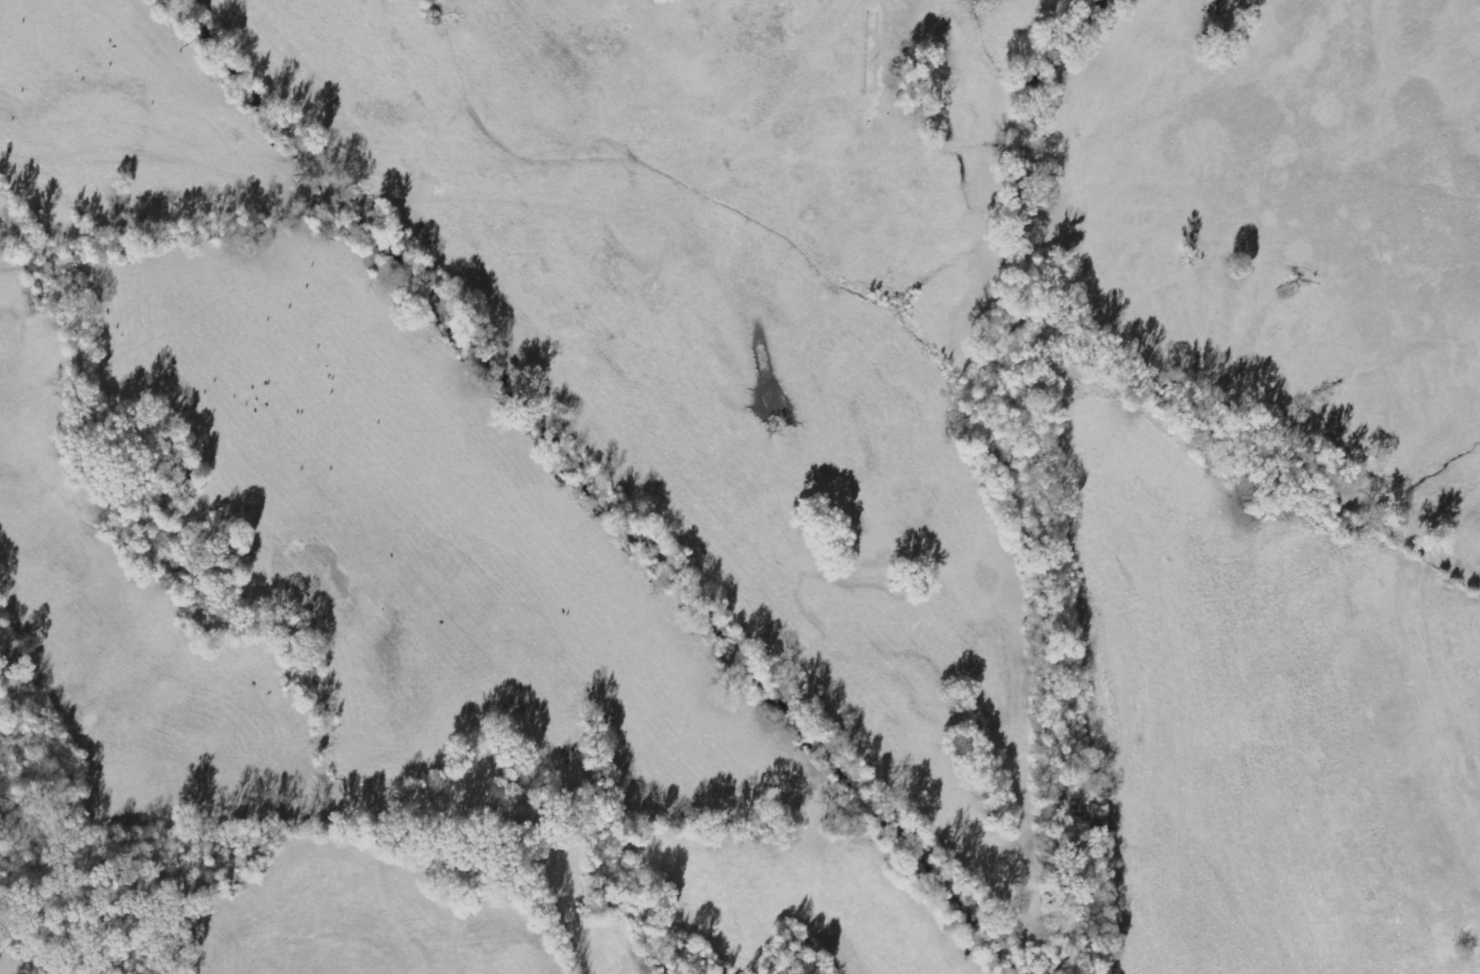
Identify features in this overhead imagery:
road: (1428, 568)

